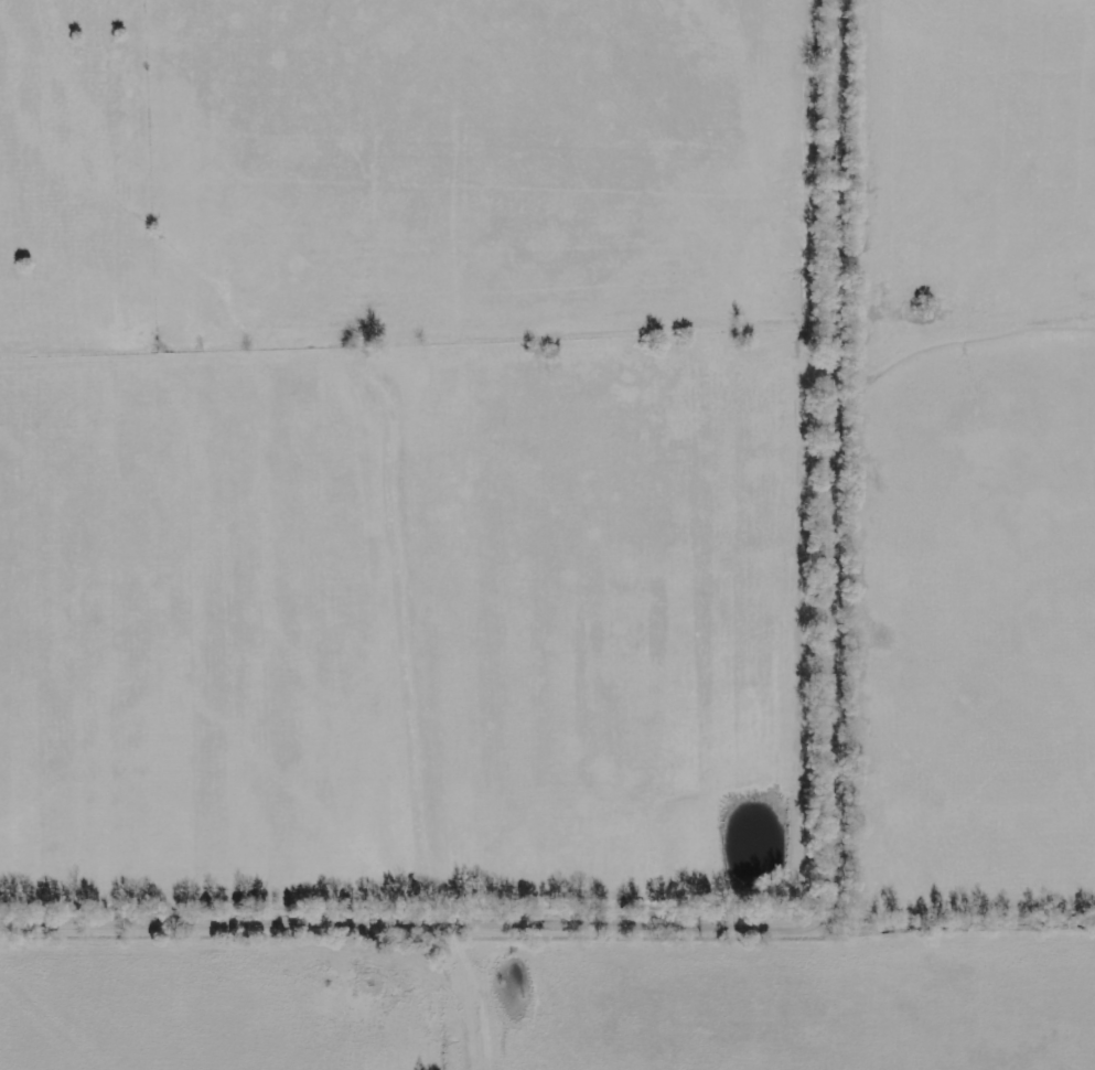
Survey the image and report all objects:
road: (838, 876)

